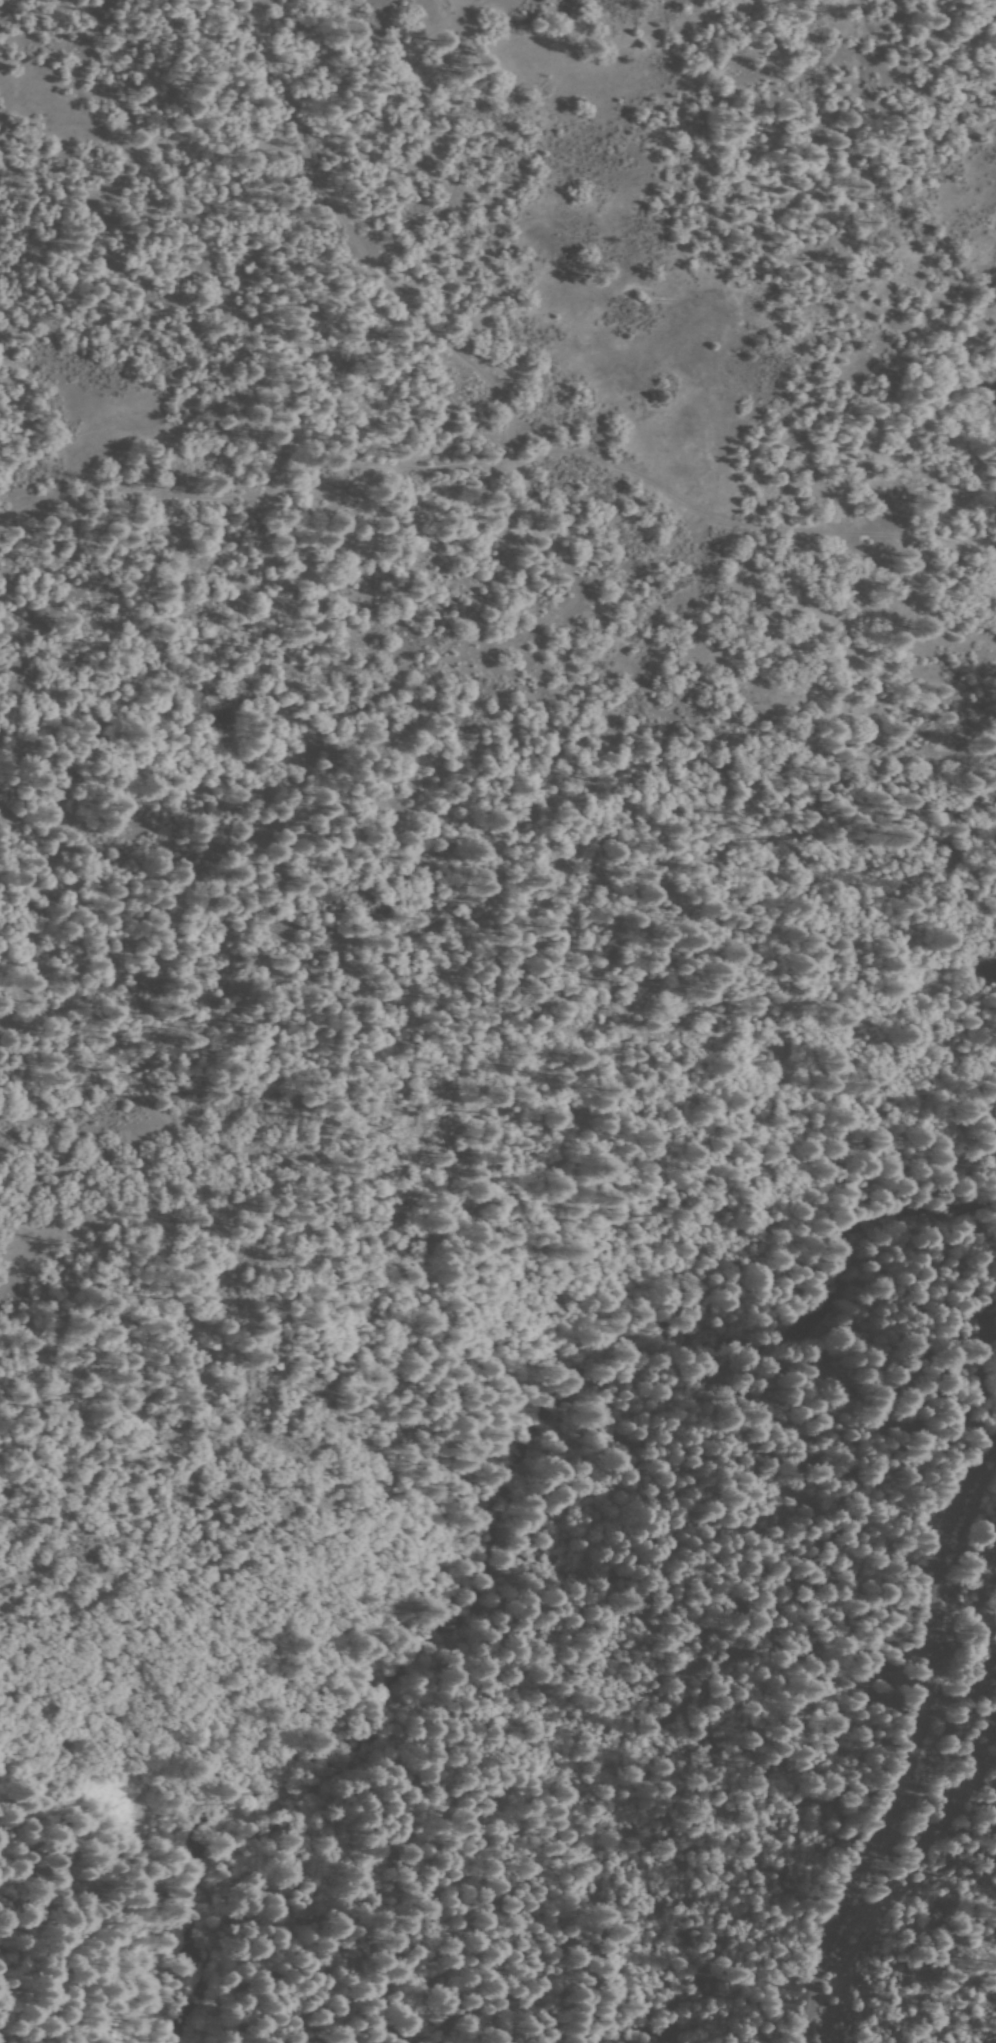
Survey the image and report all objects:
road: (246, 512)

